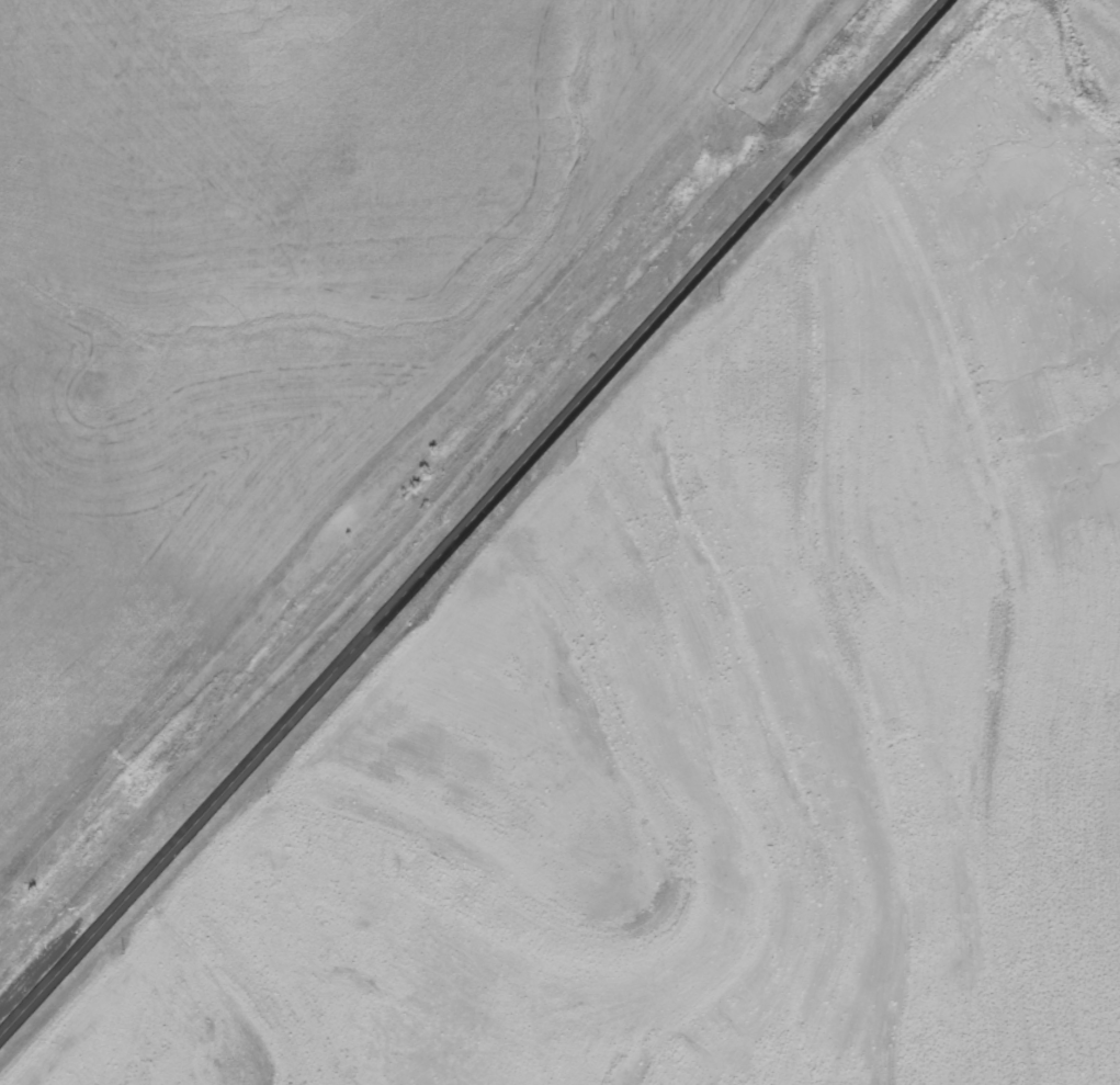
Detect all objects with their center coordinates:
railway: (431, 467)
road: (476, 521)
building: (1112, 950)

